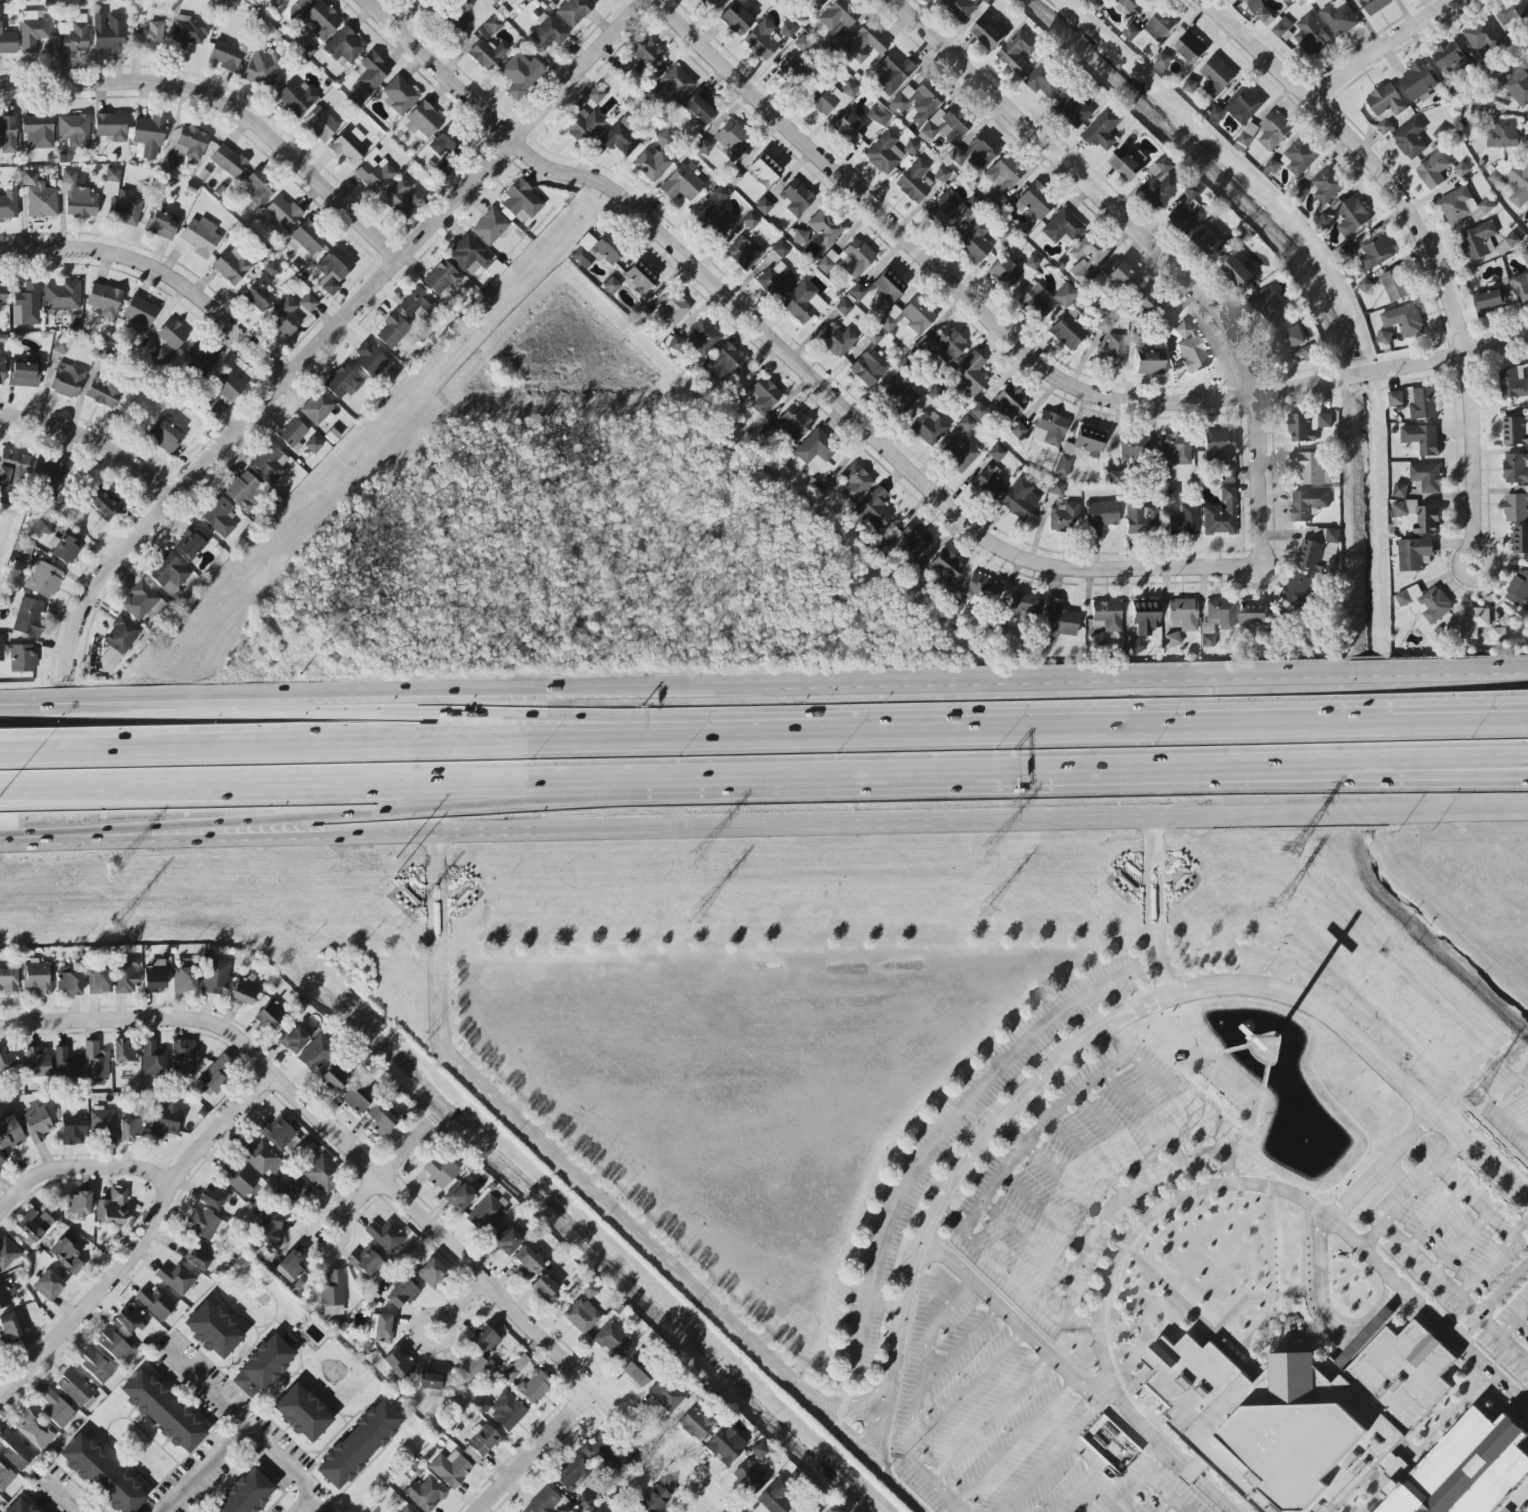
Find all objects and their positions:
building: (598, 0)
building: (495, 1)
building: (1526, 2)
building: (709, 3)
building: (815, 3)
building: (1130, 4)
building: (1374, 6)
building: (963, 7)
building: (290, 8)
building: (1258, 9)
building: (573, 11)
road: (406, 13)
building: (459, 13)
building: (1510, 13)
building: (1339, 18)
building: (735, 19)
building: (320, 21)
building: (838, 21)
building: (492, 25)
building: (1160, 26)
building: (1282, 28)
building: (32, 30)
building: (108, 30)
building: (786, 31)
building: (547, 32)
building: (988, 32)
building: (187, 34)
building: (73, 35)
building: (149, 35)
building: (1311, 35)
building: (1481, 37)
building: (762, 39)
building: (8, 42)
building: (802, 43)
building: (865, 44)
building: (344, 46)
building: (1191, 47)
road: (1380, 48)
building: (645, 53)
building: (1018, 53)
building: (487, 54)
building: (225, 55)
building: (1449, 58)
building: (1162, 63)
building: (260, 68)
building: (372, 71)
building: (794, 73)
building: (893, 73)
building: (521, 75)
building: (1216, 76)
building: (1045, 81)
building: (1418, 82)
building: (675, 83)
building: (1517, 85)
building: (1190, 86)
building: (596, 94)
building: (829, 95)
building: (399, 96)
building: (296, 98)
road: (228, 101)
building: (918, 101)
building: (1240, 106)
building: (1386, 106)
building: (700, 109)
building: (1074, 110)
building: (878, 117)
building: (423, 121)
building: (320, 124)
building: (947, 125)
building: (111, 126)
building: (583, 126)
building: (849, 128)
building: (74, 130)
building: (1103, 130)
building: (38, 131)
building: (1273, 131)
building: (1502, 133)
building: (8, 135)
building: (148, 136)
building: (620, 137)
building: (664, 139)
building: (1410, 139)
building: (732, 140)
building: (190, 143)
building: (445, 143)
building: (348, 146)
building: (703, 147)
building: (911, 147)
building: (884, 153)
building: (976, 153)
building: (1299, 157)
building: (228, 161)
building: (651, 163)
building: (1127, 164)
building: (765, 169)
building: (1433, 171)
building: (374, 174)
building: (733, 178)
building: (111, 181)
building: (1000, 181)
building: (1512, 181)
building: (915, 182)
building: (682, 184)
building: (1162, 184)
building: (1328, 185)
building: (1300, 192)
building: (718, 195)
building: (39, 197)
building: (78, 198)
building: (796, 198)
building: (402, 199)
building: (521, 200)
building: (1036, 201)
building: (9, 204)
building: (763, 206)
building: (1463, 206)
building: (124, 209)
building: (948, 211)
building: (1190, 212)
building: (281, 213)
building: (1352, 217)
building: (750, 221)
building: (161, 224)
building: (714, 224)
building: (490, 227)
building: (825, 227)
building: (1062, 227)
road: (1423, 235)
building: (200, 237)
building: (308, 237)
building: (800, 237)
building: (1478, 241)
building: (974, 242)
building: (1209, 243)
building: (1507, 244)
road: (1149, 247)
building: (600, 250)
building: (780, 250)
building: (1375, 252)
building: (744, 253)
building: (469, 255)
building: (1525, 256)
building: (1086, 257)
building: (849, 259)
road: (929, 260)
building: (231, 266)
building: (334, 269)
road: (160, 270)
building: (1004, 273)
building: (1239, 273)
building: (1121, 276)
building: (441, 277)
building: (638, 278)
building: (777, 280)
building: (611, 285)
building: (1365, 285)
building: (1395, 285)
building: (262, 288)
building: (880, 288)
building: (1521, 288)
building: (62, 296)
building: (2, 298)
building: (1046, 299)
building: (104, 300)
building: (1147, 302)
building: (1490, 302)
building: (308, 303)
building: (416, 303)
building: (803, 303)
building: (1269, 304)
building: (27, 305)
building: (843, 307)
building: (672, 309)
building: (139, 314)
building: (909, 316)
building: (285, 317)
building: (1404, 320)
road: (335, 326)
building: (392, 330)
building: (1069, 330)
building: (172, 334)
building: (1384, 337)
building: (697, 339)
building: (836, 340)
building: (947, 345)
building: (1111, 345)
building: (60, 346)
building: (1295, 346)
building: (1191, 350)
road: (789, 353)
building: (199, 359)
building: (370, 359)
building: (724, 361)
building: (869, 363)
building: (1149, 363)
road: (1392, 368)
building: (1, 370)
building: (970, 374)
building: (23, 375)
building: (67, 380)
building: (343, 382)
building: (1515, 384)
building: (229, 386)
building: (103, 392)
building: (764, 396)
building: (901, 396)
building: (1396, 398)
building: (1010, 400)
building: (1424, 404)
building: (218, 406)
building: (319, 409)
building: (978, 411)
building: (794, 423)
building: (966, 424)
building: (1307, 426)
building: (929, 427)
building: (1049, 429)
building: (1017, 430)
building: (1516, 431)
building: (292, 433)
building: (164, 436)
building: (1421, 439)
road: (92, 443)
building: (1085, 444)
building: (313, 445)
building: (1218, 445)
building: (1134, 446)
building: (1177, 448)
building: (815, 450)
building: (996, 453)
building: (960, 456)
building: (268, 460)
building: (1062, 465)
building: (1518, 465)
building: (12, 468)
building: (1310, 468)
building: (1226, 475)
building: (48, 476)
building: (1115, 477)
building: (1426, 477)
building: (855, 483)
building: (988, 487)
building: (1056, 488)
building: (242, 490)
building: (1400, 490)
building: (1169, 494)
building: (1019, 499)
building: (1308, 504)
building: (104, 505)
building: (1518, 507)
building: (1221, 515)
building: (219, 517)
building: (1420, 517)
building: (1065, 518)
building: (1140, 519)
building: (1185, 520)
building: (44, 526)
building: (891, 538)
building: (1520, 540)
building: (917, 542)
building: (188, 545)
building: (66, 549)
building: (1319, 550)
road: (1466, 550)
building: (22, 553)
building: (1414, 554)
building: (945, 566)
building: (169, 575)
building: (43, 580)
building: (982, 588)
building: (142, 602)
building: (1426, 602)
building: (1023, 605)
building: (952, 606)
building: (1221, 613)
building: (1183, 614)
building: (1253, 614)
building: (29, 617)
building: (1144, 617)
building: (1060, 621)
building: (1103, 621)
building: (1473, 622)
building: (1206, 635)
building: (1498, 635)
building: (1172, 639)
building: (1, 641)
building: (117, 642)
building: (21, 658)
road: (1451, 676)
road: (1022, 685)
road: (403, 697)
road: (32, 702)
road: (101, 702)
road: (393, 723)
road: (1461, 723)
road: (1081, 734)
road: (708, 743)
road: (528, 749)
road: (204, 759)
road: (1426, 764)
road: (1049, 772)
road: (1426, 773)
road: (716, 779)
road: (485, 781)
road: (156, 782)
road: (355, 809)
road: (944, 818)
road: (207, 835)
road: (26, 839)
power tower: (1297, 848)
power tower: (984, 856)
power tower: (692, 860)
power tower: (402, 863)
power tower: (113, 867)
power tower: (1279, 904)
power tower: (984, 907)
road: (1153, 907)
power tower: (693, 914)
power tower: (403, 920)
power tower: (113, 925)
building: (126, 975)
building: (37, 977)
building: (215, 977)
building: (154, 978)
building: (184, 979)
building: (8, 980)
building: (68, 982)
building: (99, 982)
building: (244, 992)
road: (1119, 1000)
building: (269, 1016)
road: (144, 1019)
building: (293, 1039)
road: (1077, 1048)
building: (123, 1051)
building: (315, 1053)
building: (184, 1055)
power tower: (1517, 1056)
building: (153, 1057)
building: (7, 1061)
building: (95, 1061)
building: (37, 1062)
building: (65, 1062)
building: (214, 1075)
building: (333, 1079)
building: (355, 1098)
power tower: (1478, 1099)
road: (1180, 1101)
road: (1499, 1106)
road: (980, 1115)
road: (1146, 1116)
building: (380, 1120)
building: (165, 1121)
building: (36, 1123)
building: (104, 1127)
building: (130, 1129)
building: (73, 1130)
road: (941, 1131)
building: (9, 1132)
road: (1036, 1133)
building: (279, 1134)
road: (1116, 1135)
road: (341, 1137)
road: (1076, 1145)
building: (259, 1157)
building: (1, 1166)
road: (1381, 1166)
road: (78, 1168)
road: (1052, 1170)
building: (439, 1171)
building: (322, 1174)
building: (238, 1178)
road: (579, 1184)
road: (1410, 1194)
building: (458, 1196)
building: (213, 1198)
road: (1475, 1201)
building: (76, 1207)
road: (1115, 1207)
building: (112, 1208)
road: (353, 1208)
road: (1044, 1210)
building: (485, 1214)
road: (1155, 1214)
road: (1436, 1220)
building: (39, 1224)
building: (203, 1224)
building: (270, 1228)
building: (386, 1236)
building: (506, 1241)
road: (143, 1243)
road: (1026, 1243)
road: (1460, 1243)
building: (7, 1253)
building: (70, 1255)
building: (200, 1257)
road: (1492, 1258)
building: (364, 1263)
building: (526, 1263)
building: (289, 1266)
building: (431, 1273)
building: (176, 1279)
road: (1011, 1280)
building: (48, 1285)
building: (545, 1290)
building: (589, 1290)
building: (332, 1293)
building: (401, 1293)
road: (1454, 1295)
building: (6, 1297)
road: (1491, 1301)
building: (155, 1303)
road: (884, 1305)
road: (1325, 1307)
building: (581, 1316)
building: (130, 1320)
road: (1513, 1321)
road: (1017, 1325)
building: (9, 1329)
building: (383, 1329)
building: (213, 1330)
building: (484, 1340)
building: (611, 1340)
road: (446, 1343)
building: (116, 1345)
road: (959, 1348)
road: (564, 1360)
road: (1526, 1360)
building: (397, 1362)
building: (96, 1364)
building: (262, 1367)
building: (468, 1367)
building: (515, 1367)
building: (636, 1372)
road: (1492, 1373)
building: (429, 1381)
building: (534, 1386)
building: (77, 1390)
road: (966, 1390)
building: (665, 1395)
road: (1, 1397)
road: (917, 1400)
building: (480, 1403)
building: (56, 1410)
building: (162, 1411)
building: (506, 1412)
building: (302, 1413)
road: (989, 1418)
road: (1086, 1420)
building: (695, 1423)
building: (1336, 1426)
building: (34, 1430)
road: (253, 1432)
road: (1013, 1440)
building: (359, 1444)
building: (481, 1444)
building: (723, 1446)
building: (758, 1450)
road: (536, 1451)
building: (16, 1452)
building: (595, 1452)
road: (1084, 1454)
road: (1155, 1460)
road: (205, 1469)
building: (450, 1469)
building: (1196, 1471)
building: (572, 1474)
building: (102, 1475)
road: (1035, 1476)
building: (748, 1477)
building: (5, 1478)
road: (1077, 1490)
road: (1125, 1492)
road: (1164, 1492)
building: (244, 1493)
building: (425, 1494)
building: (776, 1496)
road: (63, 1497)
building: (653, 1500)
building: (543, 1501)
building: (583, 1502)
road: (1165, 1505)
building: (19, 1506)
road: (707, 1507)
building: (406, 1509)
building: (809, 1509)
road: (954, 1509)
building: (600, 1510)

